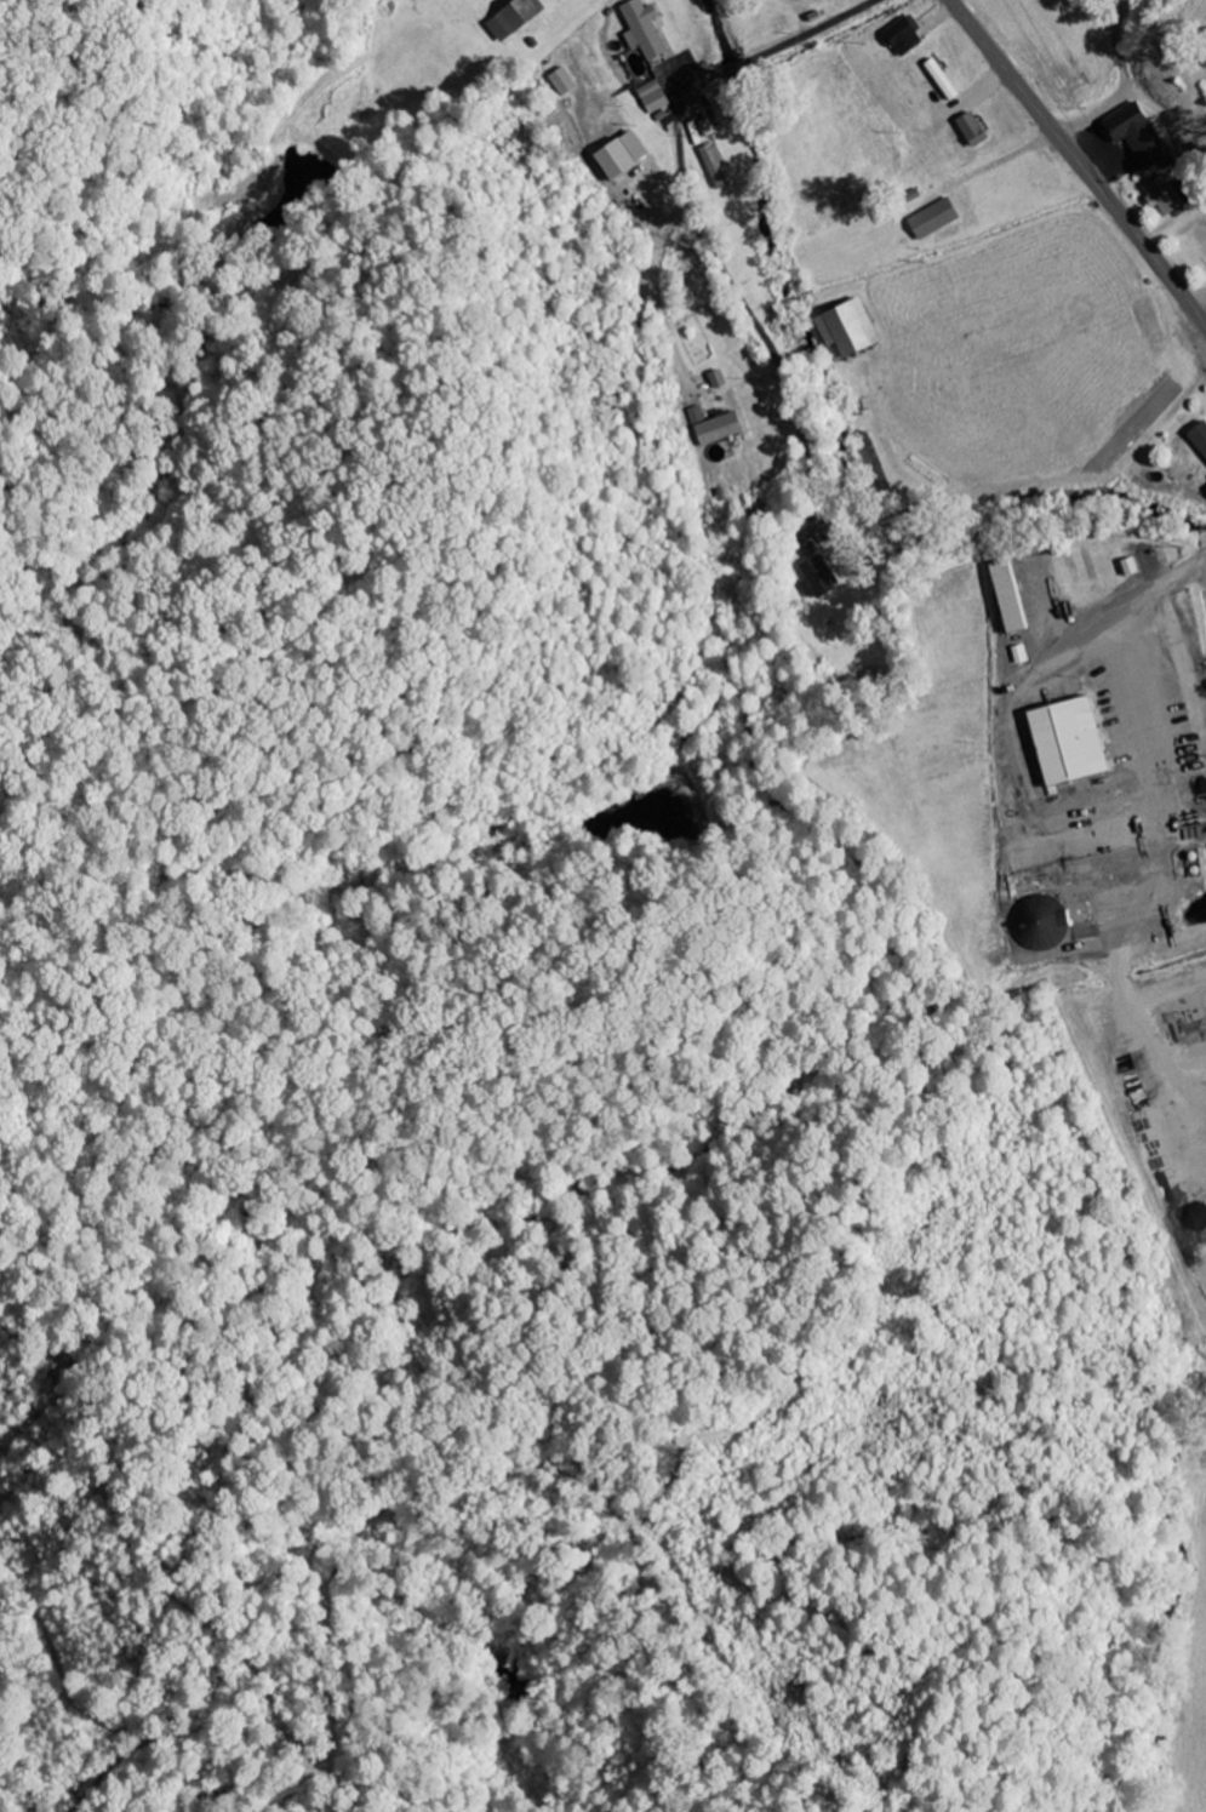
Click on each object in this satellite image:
building: (510, 18)
building: (640, 30)
building: (902, 36)
building: (1202, 47)
building: (939, 80)
building: (561, 82)
building: (651, 98)
building: (967, 127)
building: (1134, 136)
building: (617, 156)
road: (1078, 160)
building: (714, 166)
building: (1161, 196)
road: (687, 204)
building: (932, 221)
building: (845, 331)
building: (716, 381)
building: (714, 428)
building: (1205, 491)
building: (1127, 568)
building: (816, 578)
building: (1005, 599)
building: (1064, 743)
building: (1038, 924)

